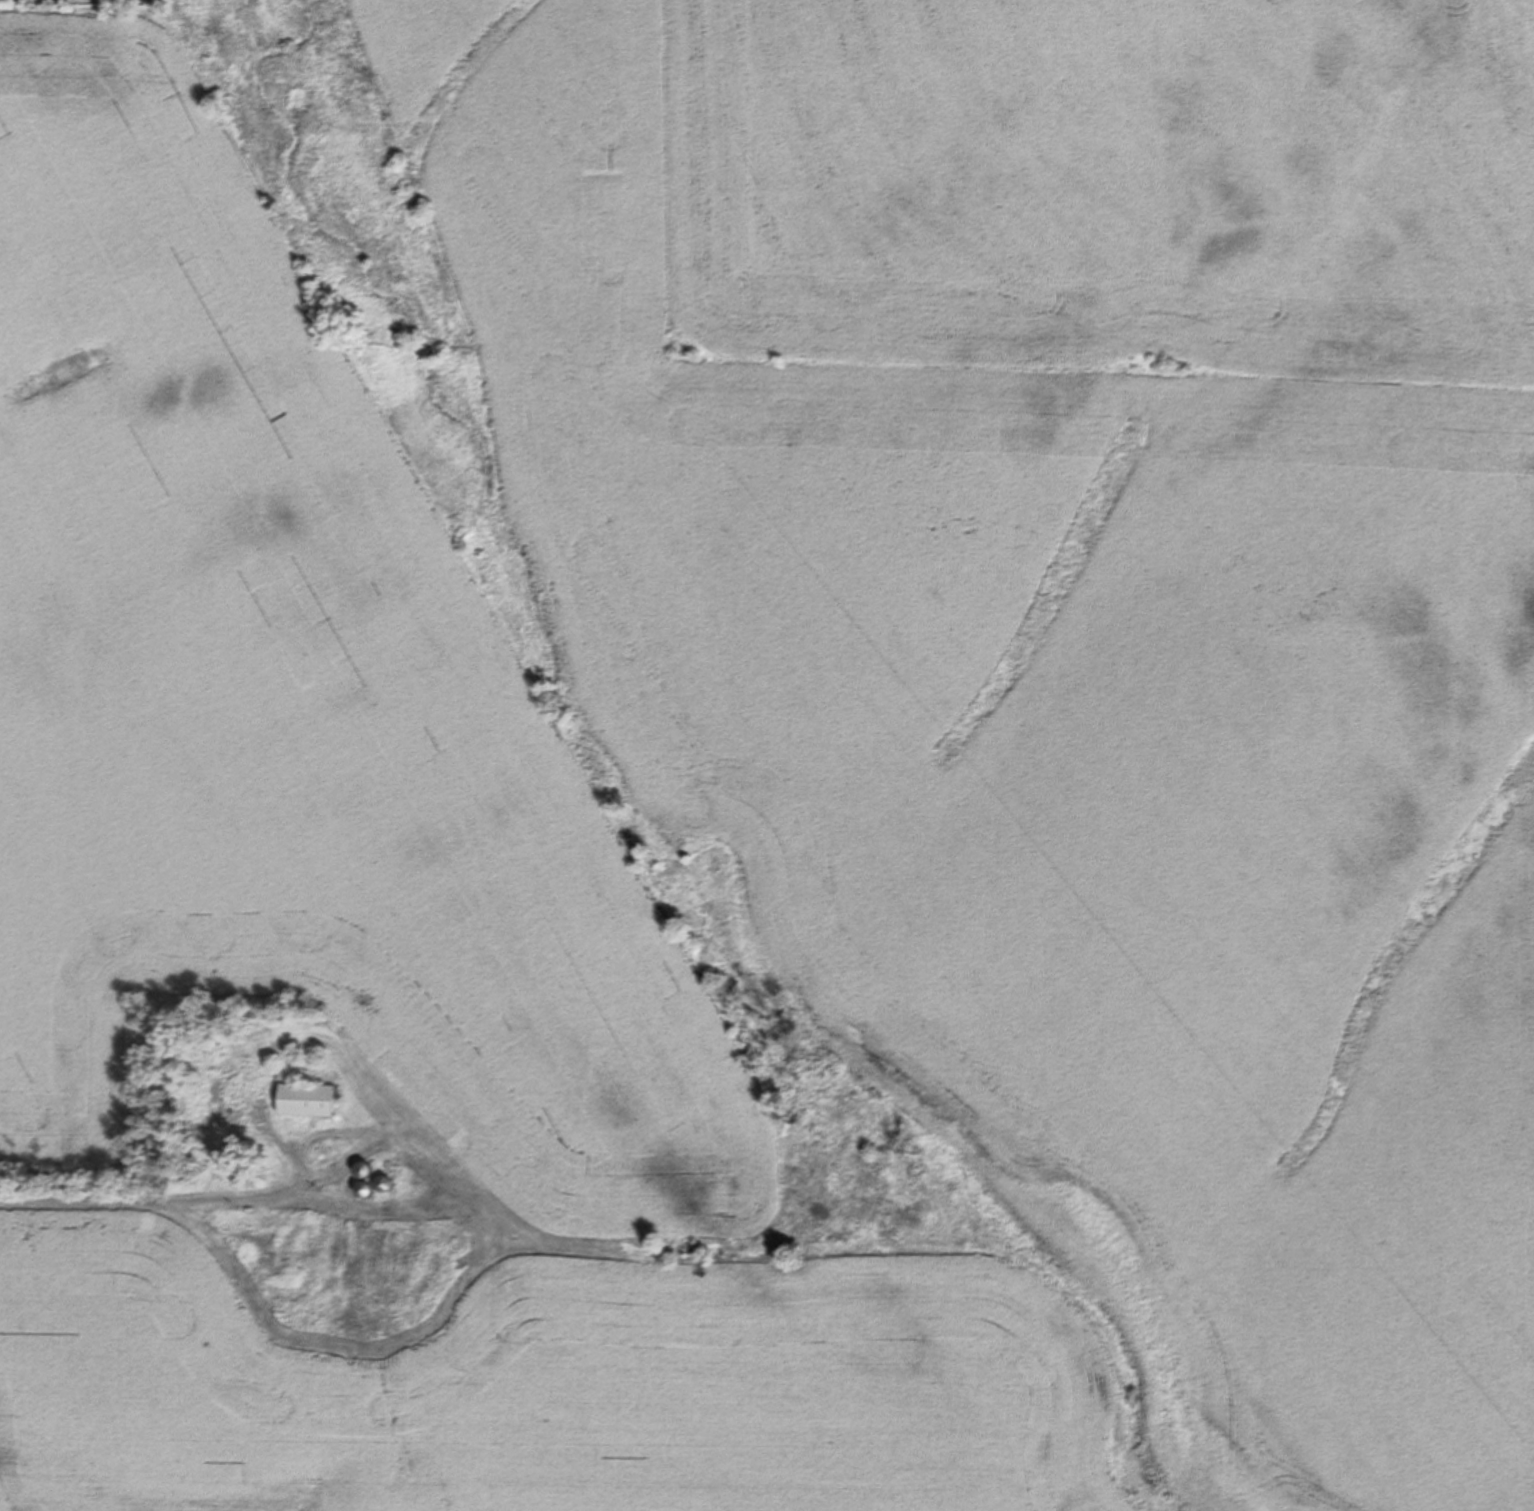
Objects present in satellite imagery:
building: (317, 1099)
building: (229, 1111)
road: (130, 1195)
building: (284, 1278)

